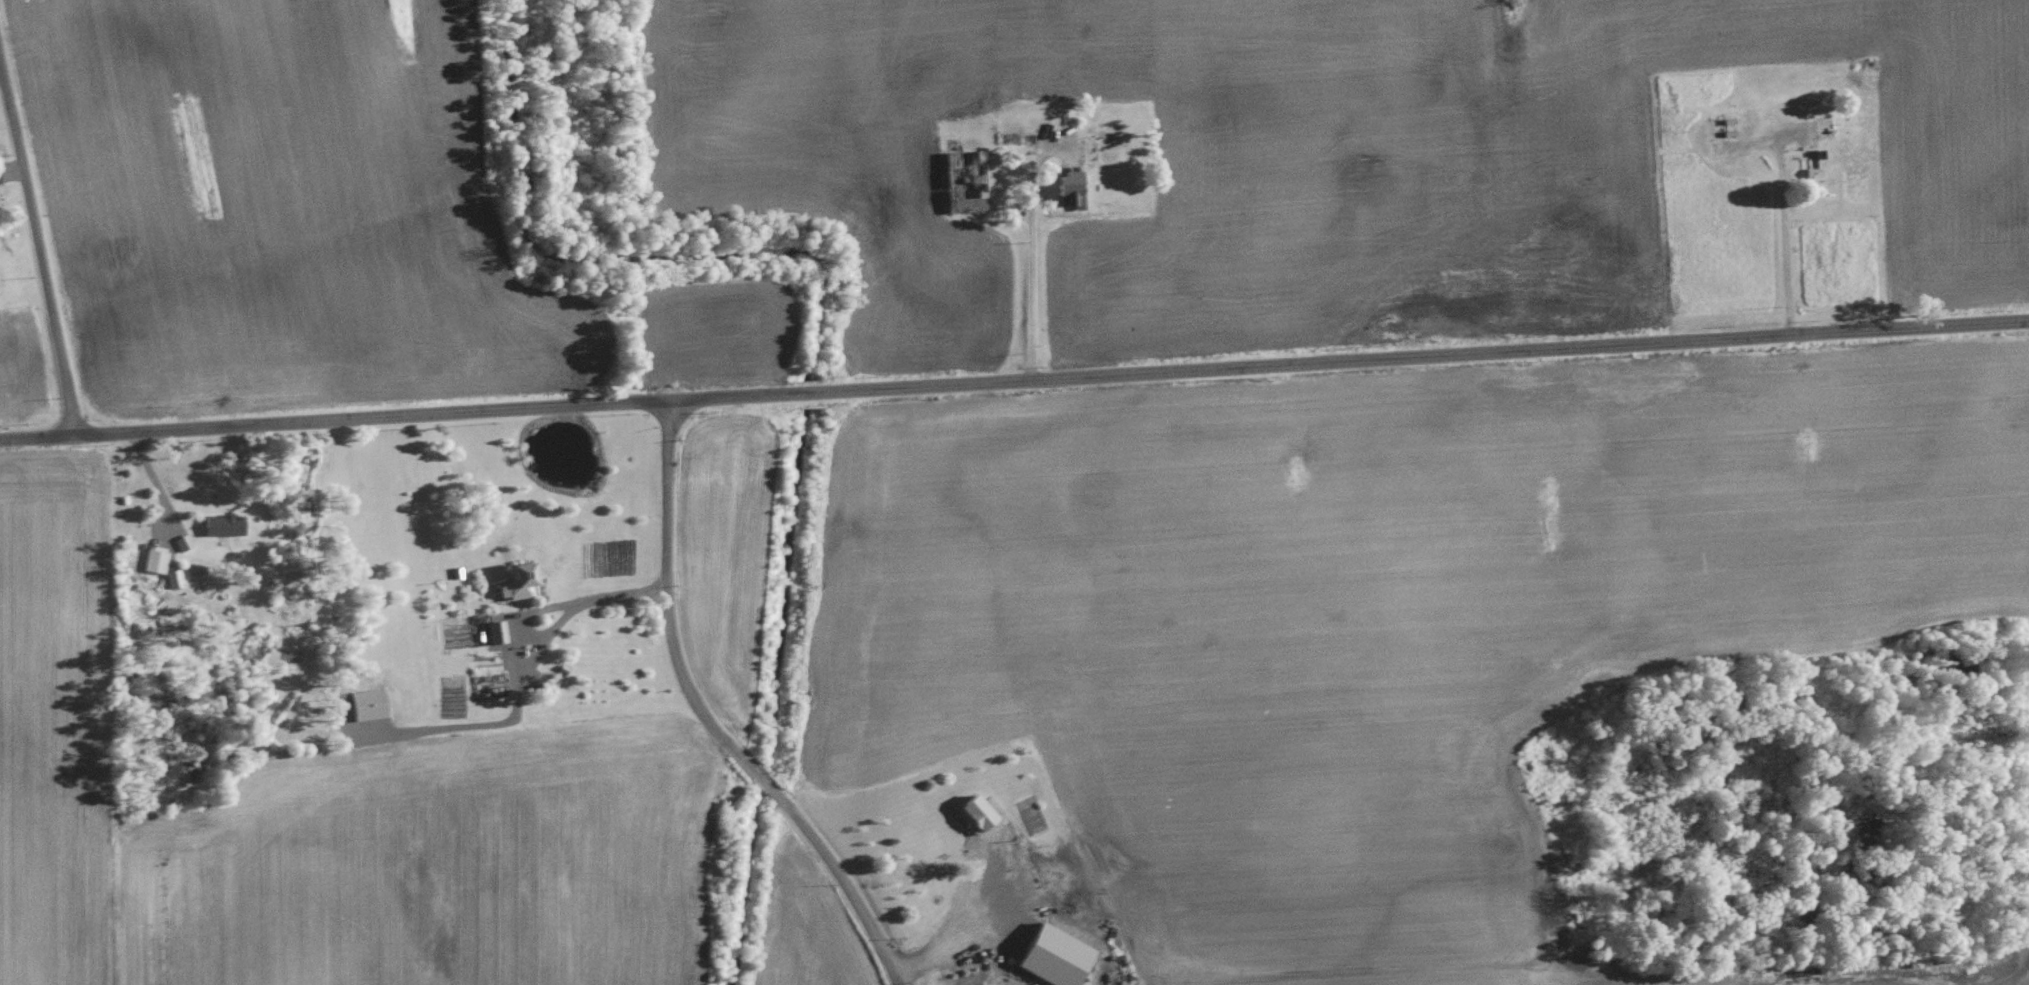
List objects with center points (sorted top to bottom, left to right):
building: (969, 184)
building: (1071, 189)
road: (1030, 247)
road: (38, 249)
road: (1014, 380)
building: (224, 525)
building: (183, 542)
building: (155, 560)
building: (518, 582)
road: (549, 604)
building: (496, 631)
building: (369, 706)
road: (708, 719)
building: (975, 811)
building: (1055, 955)

